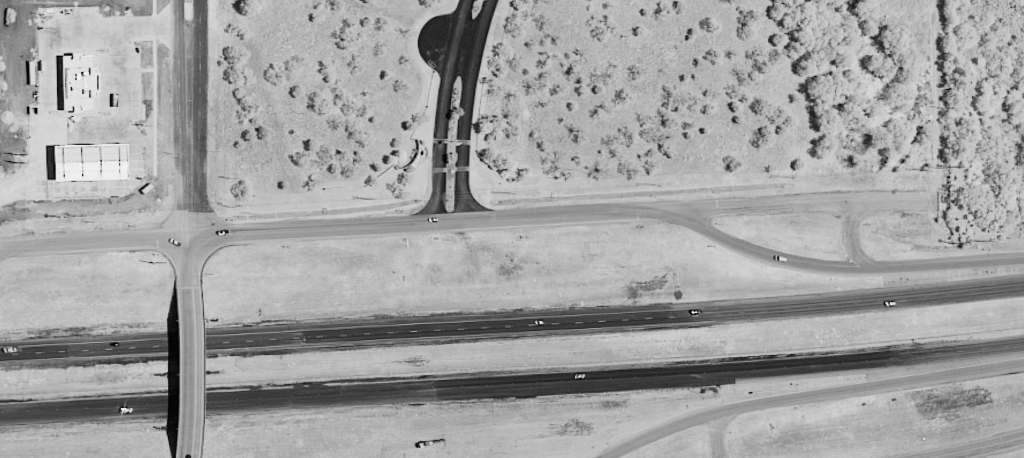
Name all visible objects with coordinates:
road: (182, 40)
road: (197, 40)
road: (455, 44)
road: (45, 61)
building: (76, 82)
road: (467, 109)
road: (444, 110)
road: (84, 135)
road: (131, 152)
building: (87, 161)
gas station: (87, 161)
road: (191, 184)
road: (799, 203)
road: (344, 228)
road: (850, 237)
road: (12, 247)
road: (11, 251)
road: (839, 266)
road: (512, 330)
road: (190, 372)
road: (512, 383)
road: (815, 396)
road: (715, 432)
road: (986, 449)

